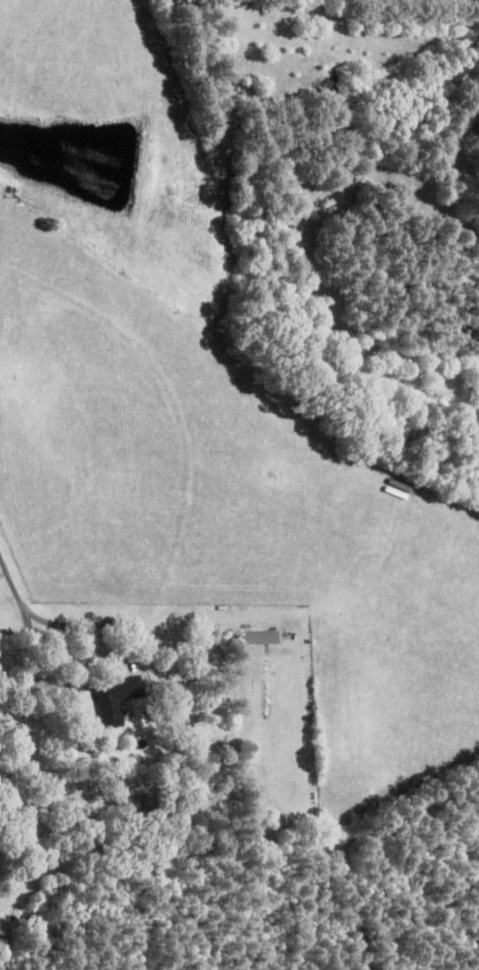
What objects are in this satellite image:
building: (261, 638)
building: (289, 654)
building: (117, 699)

